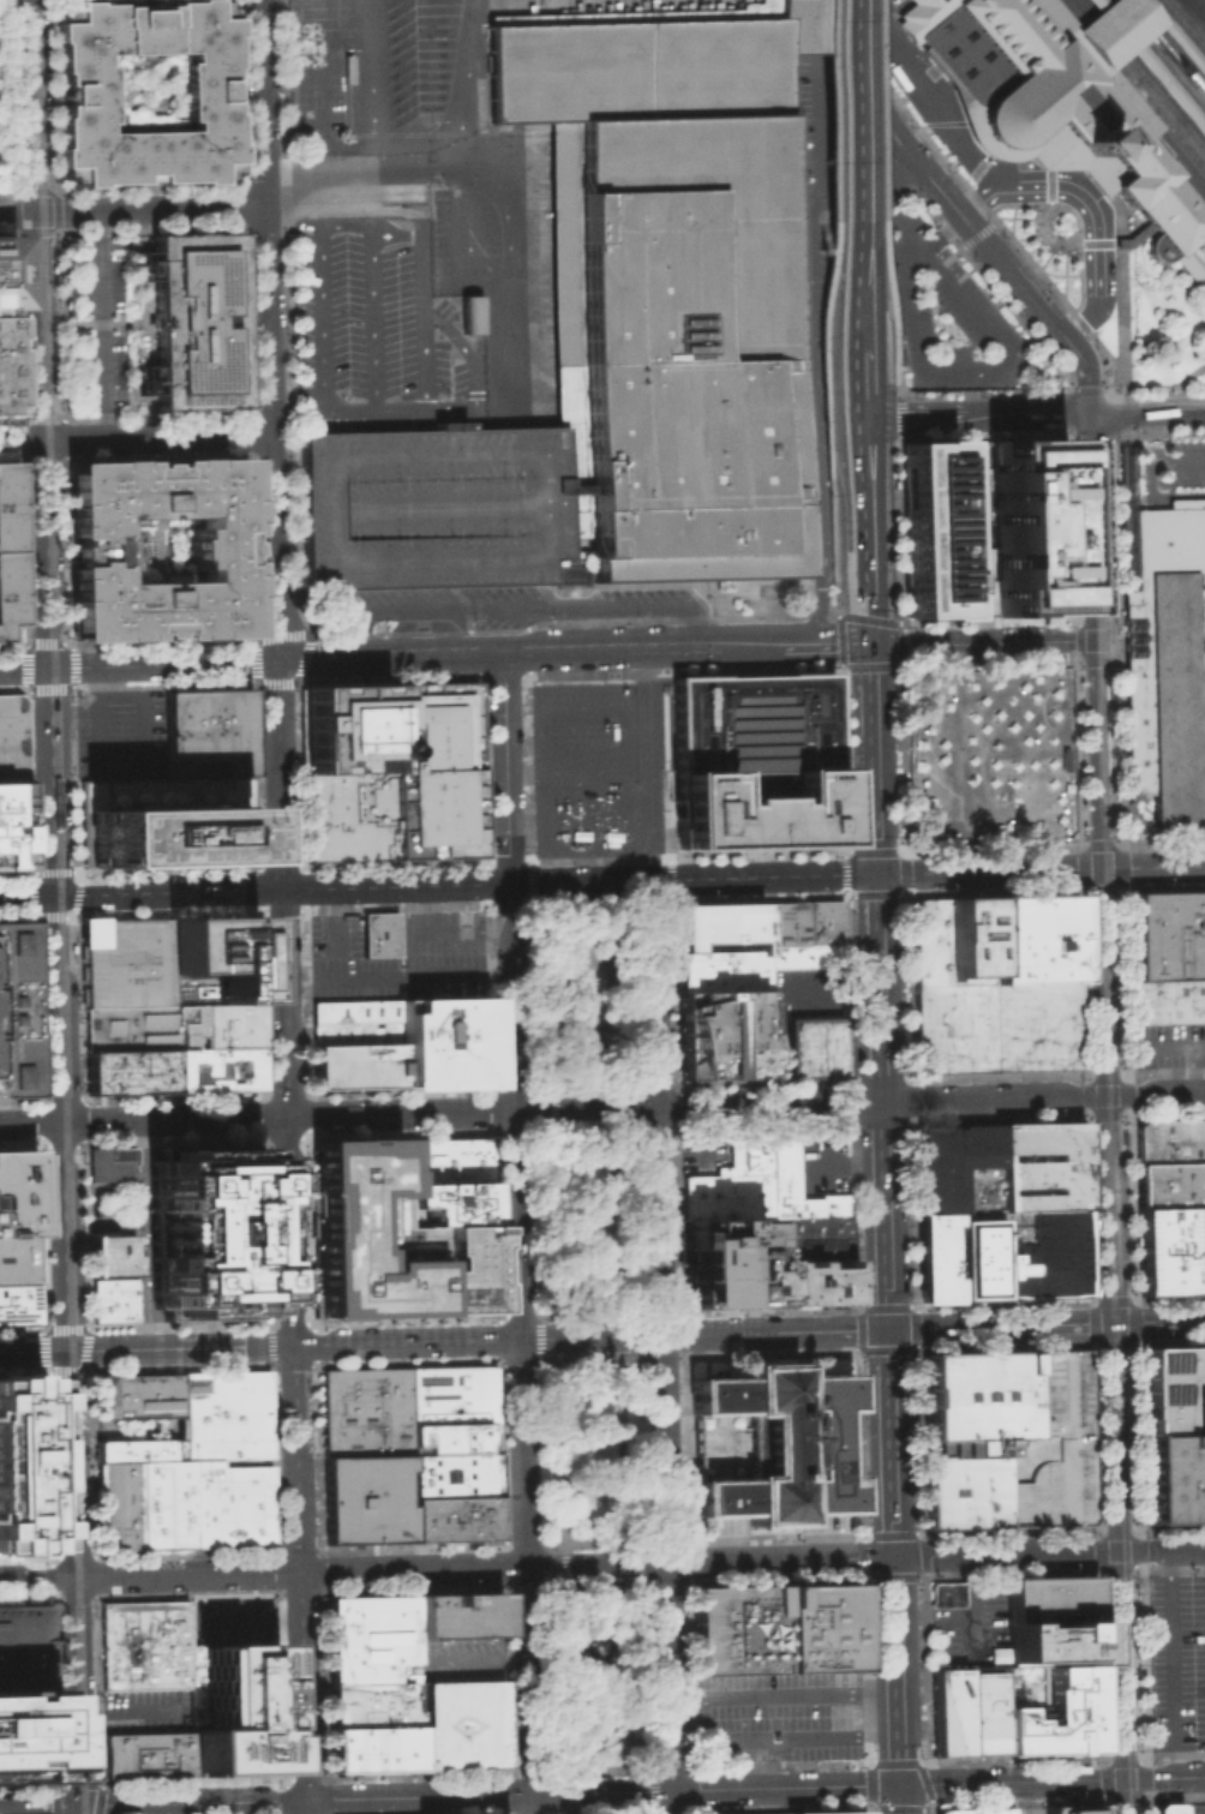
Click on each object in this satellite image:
road: (1143, 4)
railway: (1133, 5)
railway: (1183, 24)
road: (1111, 30)
railway: (1177, 31)
railway: (1170, 40)
railway: (1170, 49)
railway: (1159, 53)
railway: (1155, 59)
building: (1131, 65)
parking lot: (367, 67)
railway: (1146, 70)
railway: (1143, 73)
road: (1006, 74)
road: (373, 78)
railway: (1135, 82)
road: (322, 84)
railway: (1132, 86)
road: (994, 88)
building: (211, 94)
road: (921, 95)
building: (1063, 95)
park: (4, 100)
road: (1129, 102)
road: (1042, 107)
road: (877, 108)
road: (832, 109)
road: (857, 109)
road: (881, 116)
road: (951, 119)
road: (816, 122)
road: (456, 155)
road: (1126, 168)
road: (1129, 169)
road: (1188, 174)
road: (497, 175)
road: (1103, 180)
road: (869, 181)
road: (1049, 184)
road: (1141, 185)
road: (31, 188)
road: (972, 196)
road: (978, 202)
road: (826, 203)
road: (241, 205)
road: (132, 210)
road: (353, 210)
road: (264, 216)
road: (1097, 227)
road: (976, 234)
road: (1044, 235)
road: (1101, 244)
road: (923, 246)
road: (832, 251)
road: (882, 251)
road: (947, 258)
road: (49, 262)
road: (324, 262)
road: (1012, 276)
railway: (54, 277)
building: (672, 277)
road: (861, 283)
parking lot: (373, 312)
building: (470, 312)
parking lot: (946, 315)
road: (1121, 316)
building: (193, 319)
road: (426, 321)
road: (376, 322)
road: (886, 322)
building: (6, 323)
road: (60, 323)
road: (80, 323)
parking lot: (97, 324)
road: (101, 324)
road: (905, 335)
road: (893, 337)
road: (1027, 342)
road: (467, 352)
road: (971, 365)
road: (899, 369)
road: (1085, 371)
road: (862, 383)
road: (1156, 387)
road: (1093, 389)
road: (991, 391)
road: (829, 401)
road: (1123, 402)
road: (452, 407)
road: (344, 409)
road: (1015, 411)
road: (1078, 411)
road: (912, 413)
traffic signals: (1089, 413)
road: (1146, 413)
road: (897, 414)
railway: (1126, 414)
road: (422, 418)
road: (817, 418)
road: (250, 433)
road: (156, 436)
road: (1151, 437)
road: (20, 439)
road: (62, 439)
road: (897, 439)
road: (22, 441)
road: (422, 444)
road: (43, 447)
road: (1151, 463)
road: (271, 490)
road: (867, 498)
road: (1186, 501)
building: (431, 505)
parking lot: (431, 505)
road: (434, 509)
building: (1029, 526)
road: (1087, 526)
building: (929, 527)
building: (96, 544)
building: (8, 547)
road: (541, 559)
building: (570, 574)
road: (832, 583)
road: (275, 604)
road: (521, 612)
road: (871, 613)
road: (1093, 619)
road: (895, 623)
road: (425, 624)
road: (1113, 629)
road: (1075, 637)
traffic signals: (1095, 641)
road: (983, 642)
road: (838, 646)
traffic signals: (874, 646)
road: (653, 647)
building: (1163, 649)
road: (389, 654)
road: (1095, 657)
traffic signals: (276, 660)
road: (164, 664)
road: (25, 667)
road: (299, 667)
road: (875, 689)
road: (144, 710)
building: (438, 725)
building: (350, 728)
building: (204, 730)
parking lot: (116, 732)
building: (11, 737)
road: (98, 743)
road: (1097, 753)
building: (753, 760)
parking lot: (601, 764)
road: (643, 764)
road: (505, 766)
road: (879, 803)
building: (440, 814)
building: (353, 816)
building: (164, 820)
railway: (1123, 824)
building: (12, 825)
road: (1099, 844)
road: (1161, 844)
road: (905, 848)
road: (526, 860)
road: (1081, 866)
road: (1119, 866)
road: (1152, 866)
traffic signals: (1099, 867)
road: (990, 870)
traffic signals: (881, 873)
road: (527, 882)
road: (439, 884)
road: (302, 887)
road: (1099, 887)
road: (616, 891)
road: (904, 891)
traffic signals: (54, 896)
road: (623, 900)
road: (572, 903)
railway: (59, 906)
road: (71, 912)
road: (338, 920)
building: (802, 922)
building: (718, 926)
building: (382, 932)
road: (444, 932)
road: (415, 933)
building: (1167, 934)
building: (1032, 938)
building: (967, 940)
park: (582, 942)
road: (66, 944)
building: (803, 956)
parking lot: (400, 957)
railway: (72, 962)
building: (215, 962)
building: (127, 964)
building: (719, 970)
road: (397, 977)
road: (1102, 981)
road: (882, 987)
road: (630, 993)
road: (651, 993)
road: (829, 993)
park: (595, 994)
park: (580, 995)
road: (510, 996)
road: (530, 996)
building: (1168, 1000)
road: (284, 1001)
road: (78, 1007)
road: (56, 1008)
building: (14, 1011)
building: (356, 1011)
building: (984, 1012)
building: (216, 1028)
building: (128, 1029)
building: (358, 1031)
building: (720, 1034)
building: (444, 1041)
parking lot: (1168, 1043)
road: (1171, 1043)
building: (815, 1046)
road: (777, 1049)
park: (584, 1061)
building: (359, 1065)
road: (1189, 1068)
building: (217, 1070)
building: (131, 1072)
road: (622, 1085)
road: (582, 1086)
road: (542, 1088)
road: (1153, 1095)
traffic signals: (1104, 1097)
road: (995, 1100)
road: (82, 1101)
road: (612, 1104)
road: (552, 1106)
road: (771, 1106)
road: (582, 1109)
road: (286, 1118)
road: (30, 1124)
road: (583, 1125)
road: (1103, 1127)
building: (1170, 1139)
railway: (1108, 1141)
parking lot: (701, 1150)
building: (781, 1150)
building: (745, 1151)
building: (449, 1160)
parking lot: (821, 1160)
building: (112, 1162)
building: (1039, 1165)
building: (955, 1167)
road: (90, 1180)
building: (1170, 1184)
building: (17, 1192)
building: (725, 1195)
building: (455, 1203)
road: (889, 1215)
road: (617, 1217)
road: (556, 1220)
building: (810, 1226)
building: (208, 1231)
road: (143, 1233)
road: (62, 1235)
building: (392, 1240)
road: (1105, 1240)
building: (810, 1249)
building: (1170, 1250)
building: (114, 1255)
building: (1041, 1255)
building: (936, 1256)
building: (976, 1256)
building: (18, 1258)
building: (726, 1262)
building: (810, 1281)
building: (115, 1300)
building: (19, 1301)
road: (631, 1312)
road: (589, 1313)
road: (548, 1315)
road: (1156, 1321)
traffic signals: (1109, 1323)
road: (1001, 1325)
traffic signals: (893, 1329)
road: (643, 1334)
road: (539, 1336)
road: (518, 1337)
road: (445, 1340)
road: (272, 1345)
traffic signals: (66, 1351)
road: (630, 1355)
road: (588, 1357)
road: (550, 1358)
park: (593, 1360)
road: (83, 1367)
building: (1171, 1388)
road: (82, 1394)
building: (149, 1395)
building: (107, 1396)
building: (455, 1411)
building: (368, 1413)
building: (226, 1417)
road: (1113, 1436)
building: (1005, 1438)
building: (775, 1443)
parking lot: (1050, 1444)
road: (621, 1449)
road: (562, 1450)
building: (140, 1451)
road: (663, 1460)
road: (90, 1461)
building: (22, 1465)
building: (456, 1477)
building: (1173, 1477)
building: (368, 1498)
building: (167, 1505)
building: (232, 1505)
building: (120, 1507)
building: (457, 1519)
road: (1117, 1531)
road: (594, 1543)
road: (1135, 1549)
road: (1099, 1550)
road: (1161, 1550)
traffic signals: (1117, 1551)
traffic signals: (899, 1556)
road: (94, 1557)
road: (624, 1561)
road: (565, 1562)
road: (558, 1564)
road: (1117, 1568)
road: (300, 1571)
road: (899, 1571)
road: (595, 1580)
road: (72, 1581)
building: (945, 1593)
building: (1049, 1598)
parking lot: (230, 1614)
building: (458, 1615)
parking lot: (971, 1626)
building: (820, 1627)
building: (736, 1629)
building: (372, 1639)
building: (1050, 1641)
building: (145, 1645)
building: (23, 1648)
parking lot: (461, 1658)
road: (482, 1660)
parking lot: (1176, 1660)
road: (1139, 1663)
road: (1173, 1663)
road: (1120, 1664)
road: (568, 1675)
road: (627, 1675)
road: (529, 1678)
road: (785, 1695)
building: (232, 1700)
road: (127, 1710)
parking lot: (146, 1712)
building: (964, 1712)
parking lot: (778, 1716)
building: (1056, 1716)
building: (462, 1725)
building: (374, 1728)
building: (24, 1736)
road: (786, 1736)
railway: (1145, 1747)
building: (148, 1756)
road: (1121, 1759)
road: (640, 1768)
road: (551, 1770)
road: (599, 1770)
road: (522, 1771)
road: (1141, 1777)
road: (1163, 1777)
road: (1102, 1778)
traffic signals: (1122, 1778)
road: (73, 1782)
road: (897, 1784)
traffic signals: (904, 1784)
road: (652, 1789)
road: (569, 1790)
road: (601, 1792)
road: (419, 1796)
road: (1122, 1796)
road: (1122, 1796)
road: (191, 1802)
road: (533, 1803)
railway: (1129, 1804)
traffic signals: (78, 1806)
road: (879, 1806)
road: (38, 1807)
road: (306, 1807)
building: (1165, 1807)
parking lot: (1193, 1807)
road: (169, 1808)
building: (1072, 1808)
road: (96, 1809)
road: (641, 1809)
building: (975, 1809)
road: (599, 1810)
road: (629, 1812)
building: (826, 1812)
road: (569, 1813)
building: (729, 1813)
building: (766, 1813)

